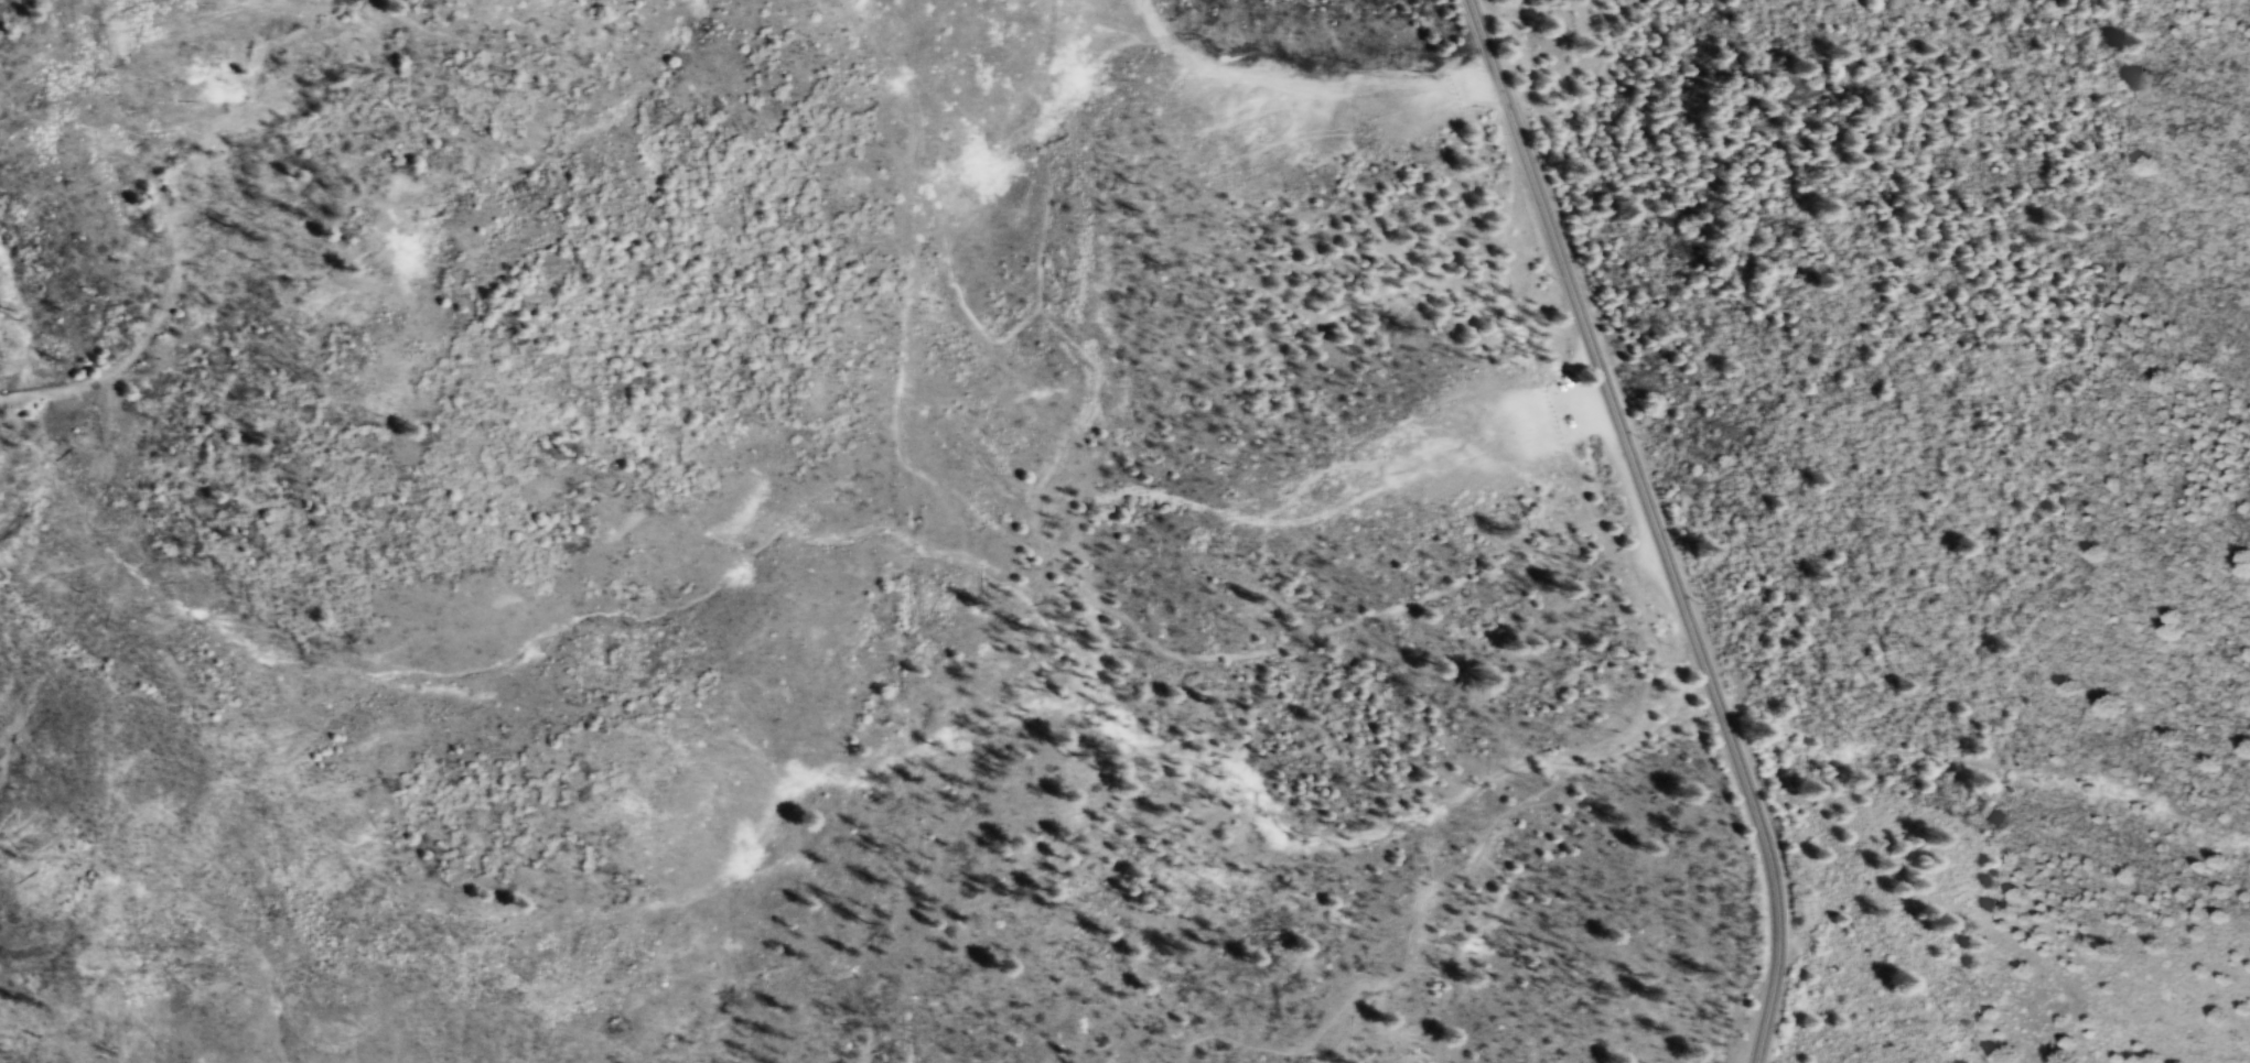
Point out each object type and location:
road: (180, 254)
road: (1655, 528)

